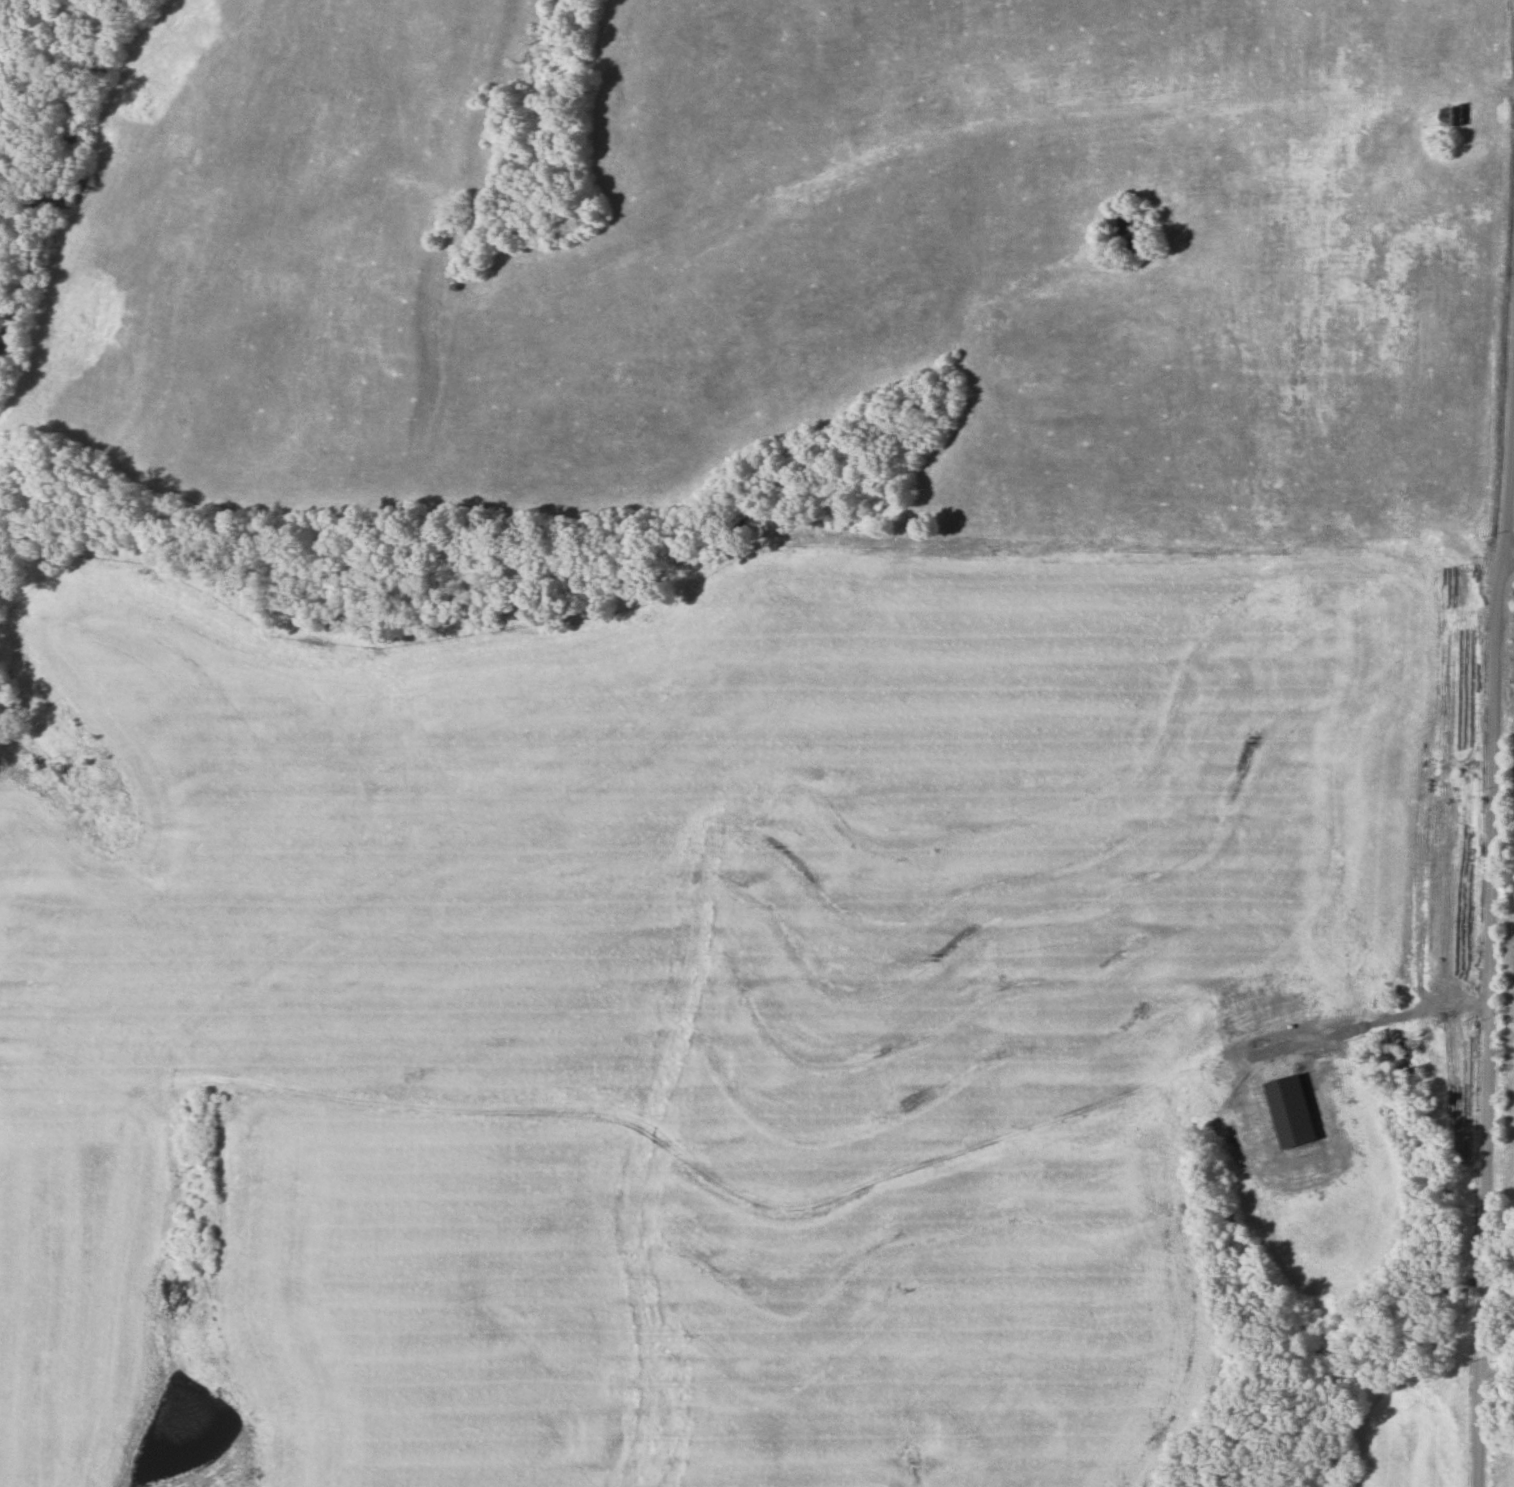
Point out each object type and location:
road: (1511, 558)
road: (1492, 970)
road: (1500, 1376)

